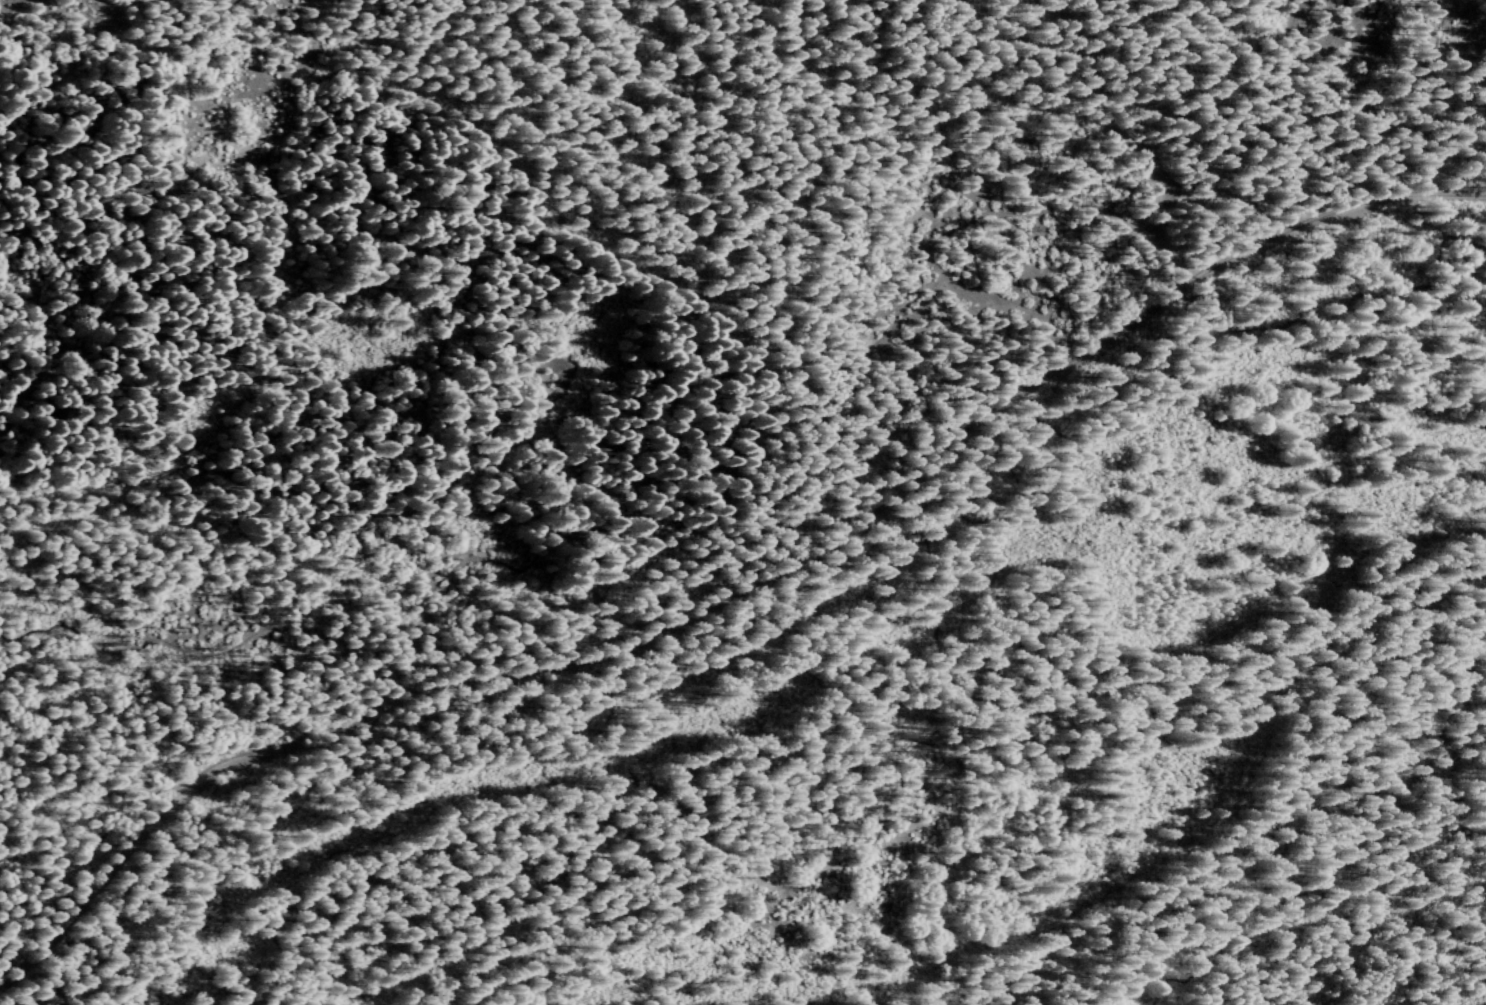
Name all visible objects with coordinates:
road: (1212, 106)
road: (1131, 137)
road: (644, 519)
road: (742, 593)
road: (913, 739)
road: (81, 976)

